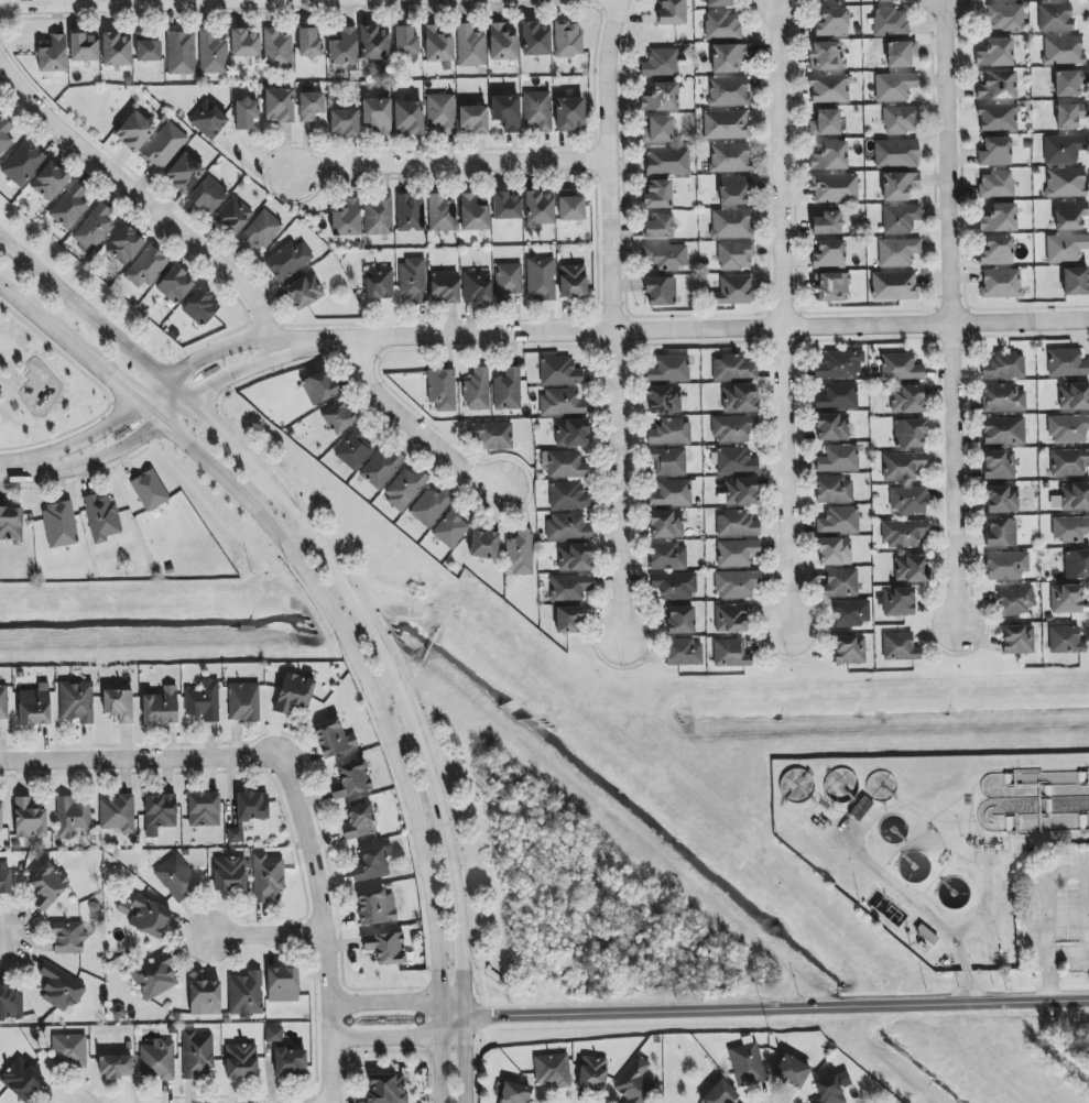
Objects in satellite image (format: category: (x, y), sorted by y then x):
building: (825, 0)
building: (886, 1)
building: (716, 2)
road: (309, 7)
building: (671, 12)
building: (1005, 18)
building: (1055, 18)
building: (891, 21)
building: (832, 22)
building: (722, 25)
building: (535, 39)
building: (567, 39)
building: (405, 41)
building: (244, 43)
building: (308, 43)
building: (374, 43)
building: (502, 43)
building: (437, 45)
building: (470, 46)
building: (83, 47)
building: (146, 47)
building: (344, 47)
building: (276, 48)
building: (116, 50)
building: (1063, 50)
building: (181, 53)
building: (211, 53)
building: (995, 53)
building: (901, 54)
building: (53, 55)
building: (826, 56)
building: (728, 57)
building: (660, 63)
building: (1069, 83)
building: (894, 86)
building: (997, 86)
building: (829, 88)
building: (728, 91)
building: (661, 98)
building: (279, 105)
building: (311, 106)
building: (537, 110)
building: (505, 111)
building: (246, 113)
building: (440, 113)
building: (377, 114)
building: (569, 114)
building: (1069, 114)
building: (409, 118)
building: (998, 118)
building: (473, 119)
building: (207, 120)
building: (901, 120)
building: (344, 122)
building: (825, 122)
building: (726, 124)
building: (657, 130)
building: (134, 131)
building: (4, 134)
building: (163, 148)
building: (1063, 149)
building: (994, 152)
building: (896, 153)
building: (830, 156)
building: (729, 157)
building: (667, 161)
building: (23, 164)
road: (453, 167)
building: (184, 173)
building: (50, 182)
building: (1066, 183)
building: (995, 184)
building: (899, 185)
building: (835, 187)
building: (734, 189)
road: (138, 195)
building: (207, 195)
building: (657, 195)
building: (505, 206)
building: (570, 206)
building: (69, 207)
building: (538, 207)
building: (410, 214)
building: (442, 214)
building: (472, 214)
building: (1069, 215)
building: (232, 216)
building: (378, 216)
building: (347, 218)
building: (999, 218)
building: (900, 219)
building: (731, 223)
building: (827, 223)
building: (658, 227)
building: (94, 228)
building: (261, 230)
building: (124, 244)
building: (1066, 248)
building: (997, 251)
building: (897, 252)
building: (829, 254)
building: (734, 255)
building: (665, 256)
building: (287, 260)
building: (146, 266)
building: (541, 279)
building: (413, 280)
building: (509, 280)
building: (573, 281)
building: (1076, 281)
building: (379, 283)
building: (1001, 283)
building: (174, 285)
building: (894, 285)
building: (444, 286)
building: (477, 286)
building: (830, 287)
building: (304, 291)
building: (660, 291)
building: (734, 291)
building: (200, 306)
road: (83, 309)
road: (946, 310)
road: (782, 315)
road: (612, 324)
road: (682, 335)
road: (218, 352)
building: (1067, 362)
building: (839, 364)
building: (1004, 365)
building: (732, 368)
building: (901, 368)
building: (669, 369)
building: (559, 371)
road: (235, 376)
building: (319, 386)
building: (442, 390)
building: (477, 390)
building: (508, 390)
road: (178, 392)
building: (838, 396)
building: (1074, 396)
building: (739, 397)
building: (1002, 397)
building: (664, 400)
building: (907, 400)
building: (562, 402)
building: (338, 417)
road: (215, 426)
road: (417, 426)
building: (831, 426)
road: (95, 428)
building: (732, 428)
building: (1068, 428)
building: (1004, 430)
building: (571, 433)
building: (671, 433)
building: (910, 434)
building: (492, 436)
building: (353, 449)
road: (110, 452)
building: (839, 458)
building: (733, 460)
building: (668, 461)
building: (1068, 462)
building: (564, 465)
building: (999, 465)
building: (902, 466)
building: (381, 467)
road: (10, 471)
building: (405, 488)
building: (149, 490)
building: (834, 490)
building: (739, 491)
building: (672, 493)
building: (568, 496)
building: (1071, 496)
building: (1002, 499)
building: (907, 500)
building: (431, 505)
building: (101, 517)
building: (839, 520)
building: (11, 524)
building: (666, 524)
building: (736, 524)
building: (59, 525)
building: (450, 527)
building: (567, 527)
building: (1069, 528)
building: (1001, 532)
building: (904, 533)
building: (483, 544)
building: (834, 551)
building: (737, 553)
building: (520, 554)
building: (667, 556)
building: (574, 557)
building: (1006, 565)
building: (1077, 565)
building: (911, 568)
building: (840, 582)
building: (737, 583)
building: (674, 586)
building: (569, 587)
building: (1066, 599)
building: (899, 601)
building: (1015, 601)
building: (851, 612)
building: (730, 618)
building: (568, 620)
building: (680, 620)
road: (341, 629)
building: (1017, 640)
building: (1065, 640)
building: (900, 647)
building: (849, 649)
building: (684, 652)
building: (730, 653)
building: (294, 692)
building: (204, 700)
building: (76, 701)
building: (243, 701)
building: (3, 702)
building: (118, 705)
building: (34, 706)
building: (161, 707)
building: (333, 739)
road: (137, 749)
road: (422, 752)
building: (351, 780)
building: (204, 809)
building: (248, 812)
building: (118, 813)
building: (160, 813)
building: (1, 817)
building: (72, 817)
building: (29, 819)
building: (359, 822)
building: (372, 863)
road: (324, 869)
road: (1066, 871)
road: (1085, 871)
building: (229, 874)
building: (176, 877)
building: (266, 877)
building: (4, 881)
building: (47, 886)
road: (907, 900)
building: (375, 906)
building: (149, 916)
road: (269, 936)
building: (68, 938)
road: (2, 941)
building: (385, 947)
road: (1045, 953)
building: (154, 976)
building: (282, 984)
building: (61, 989)
building: (246, 993)
building: (205, 997)
road: (384, 1002)
building: (10, 1004)
road: (776, 1005)
road: (451, 1008)
road: (451, 1026)
building: (274, 1034)
road: (384, 1037)
building: (69, 1050)
road: (329, 1052)
building: (197, 1055)
building: (157, 1060)
building: (240, 1061)
building: (290, 1062)
building: (747, 1064)
building: (115, 1067)
building: (552, 1070)
building: (792, 1071)
building: (591, 1072)
building: (21, 1079)
building: (634, 1082)
building: (831, 1088)
building: (385, 1089)
building: (514, 1093)
building: (719, 1093)

